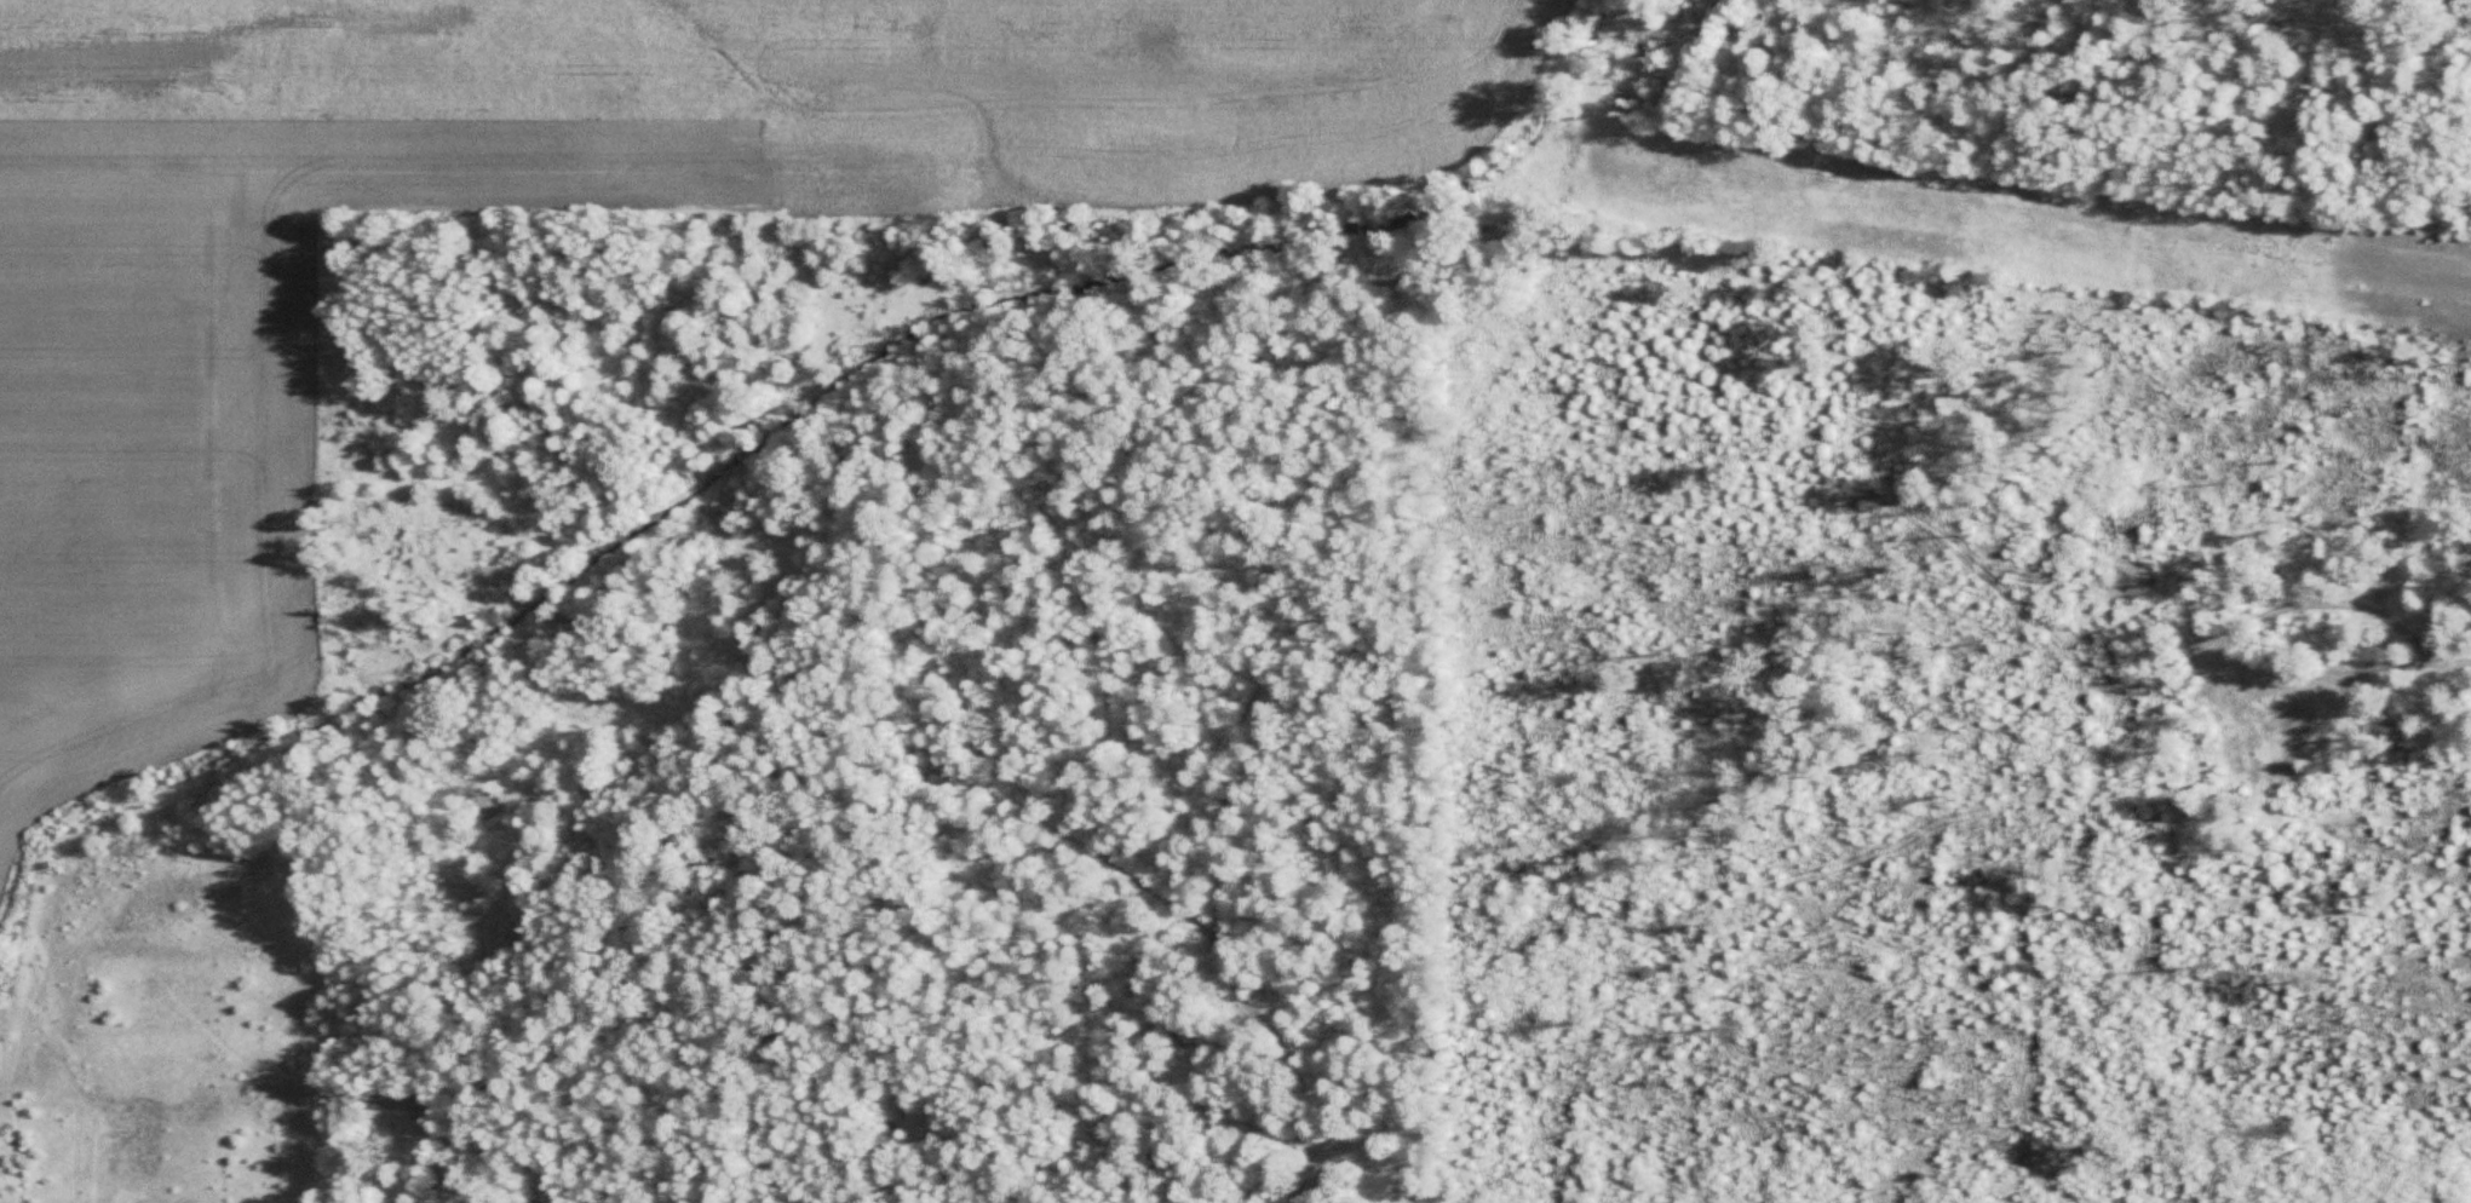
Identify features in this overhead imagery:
building: (398, 1101)

